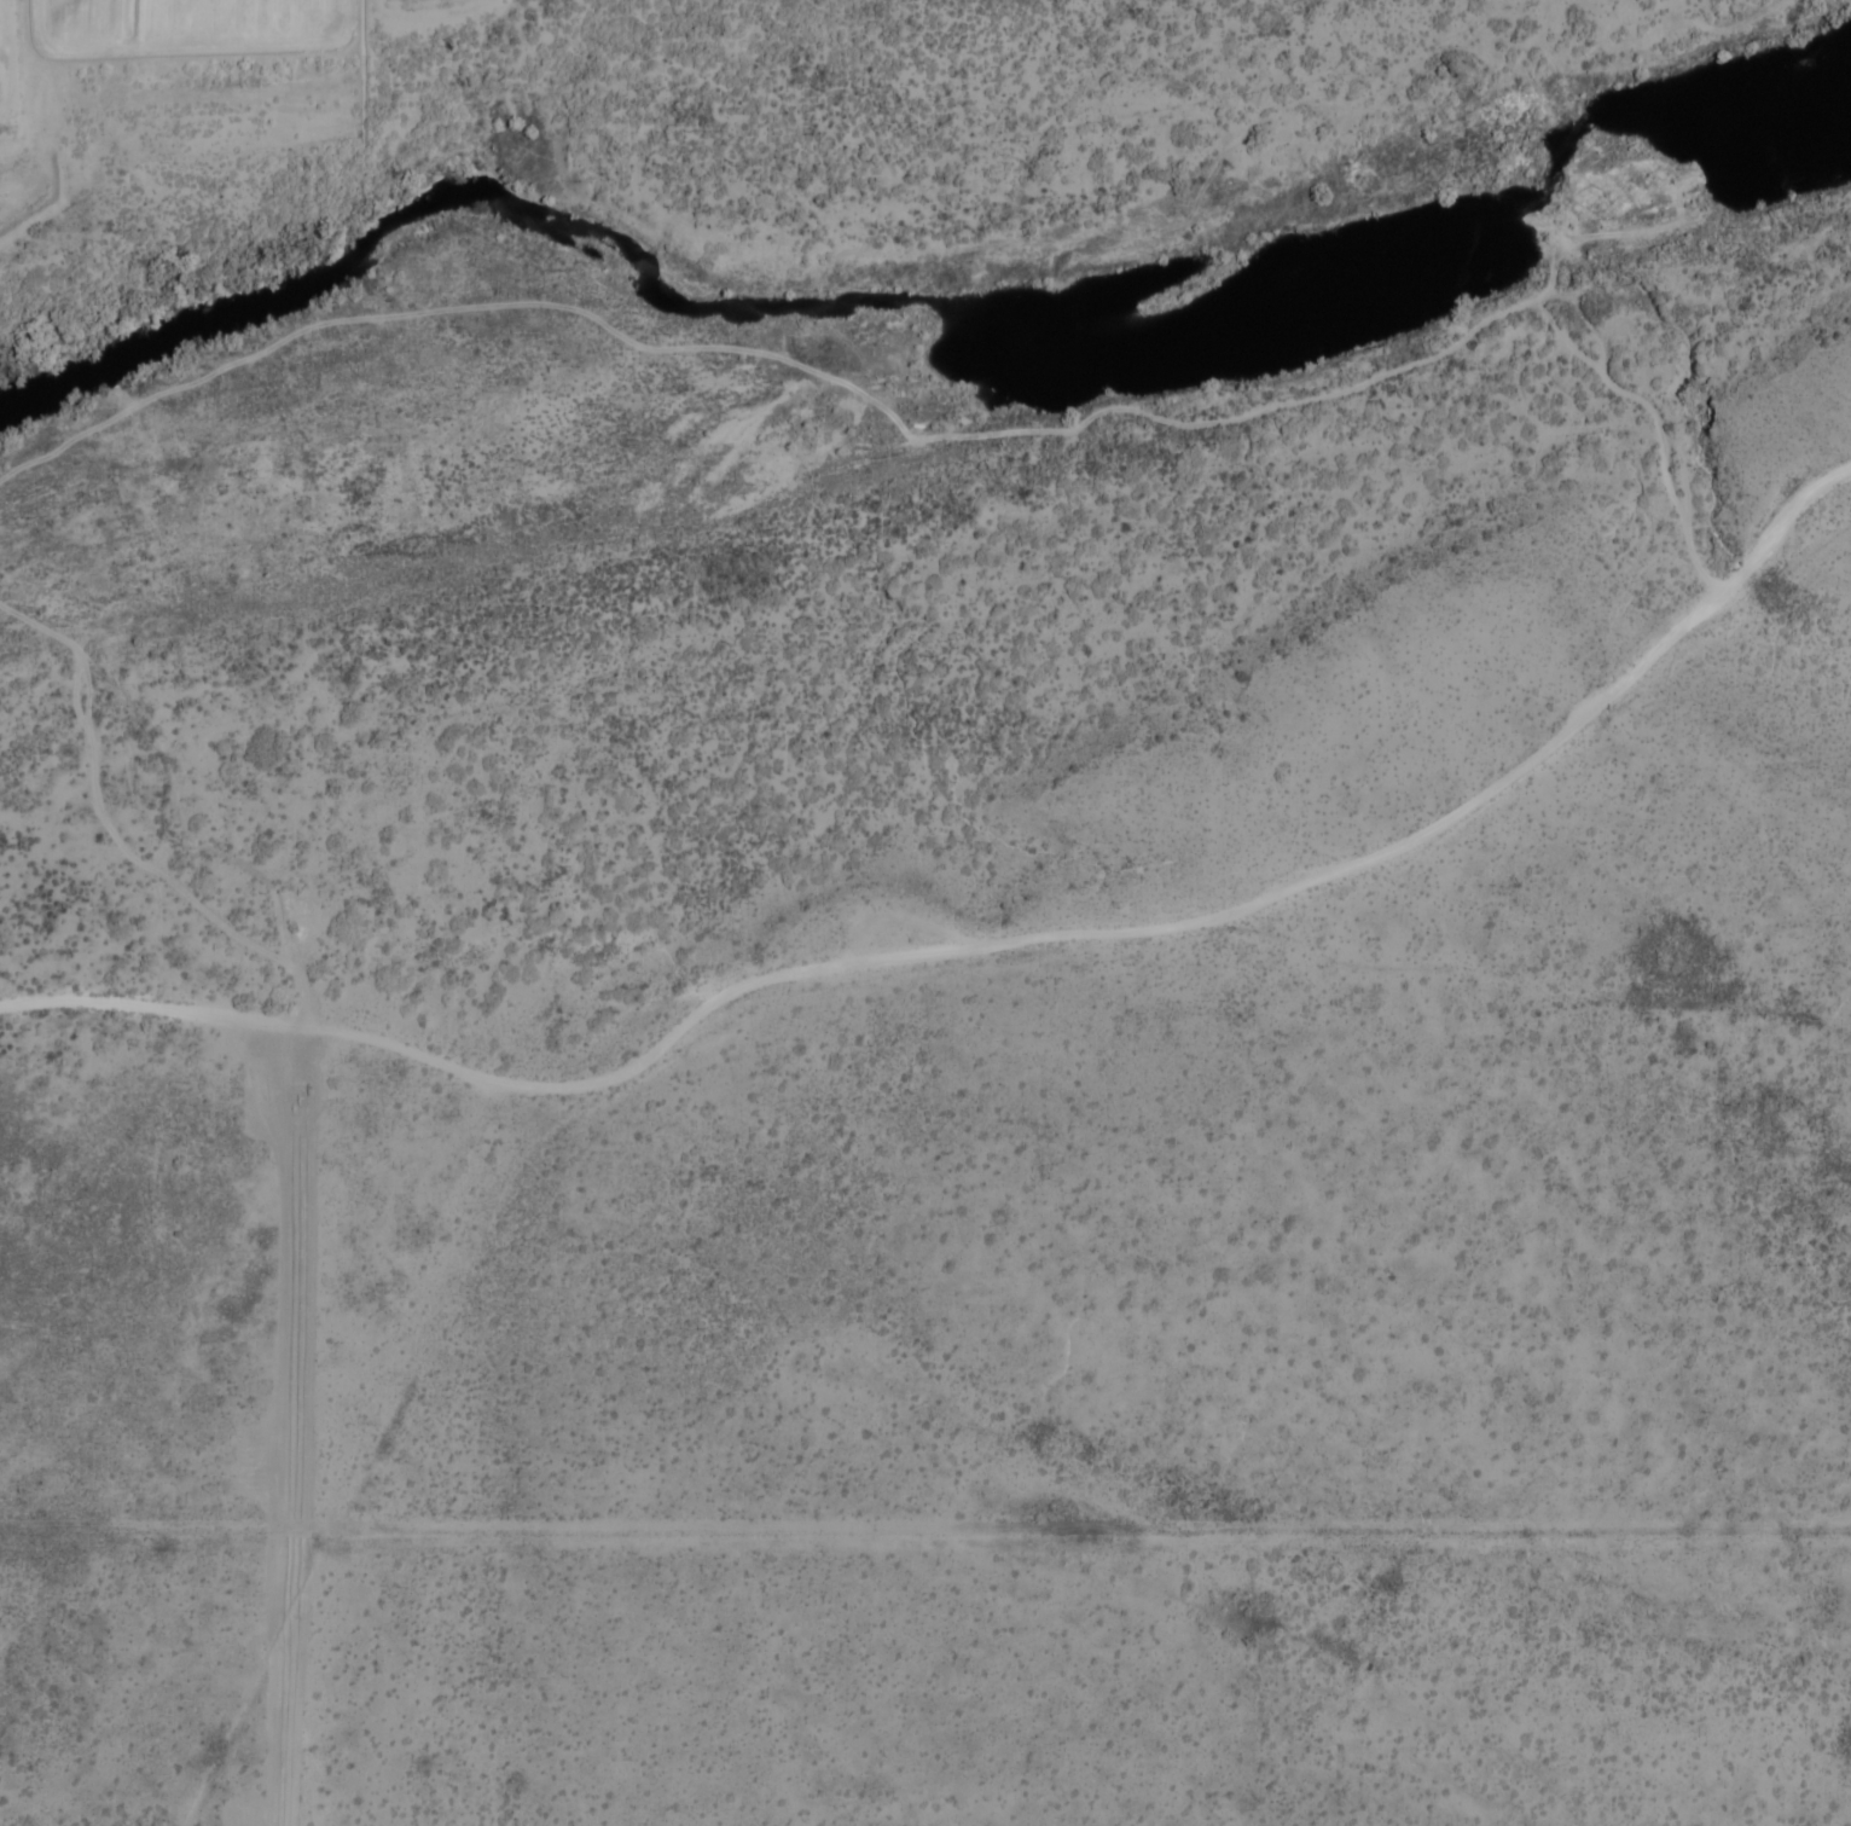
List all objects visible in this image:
river: (906, 335)
road: (718, 338)
road: (209, 366)
road: (964, 440)
road: (176, 835)
road: (985, 947)

